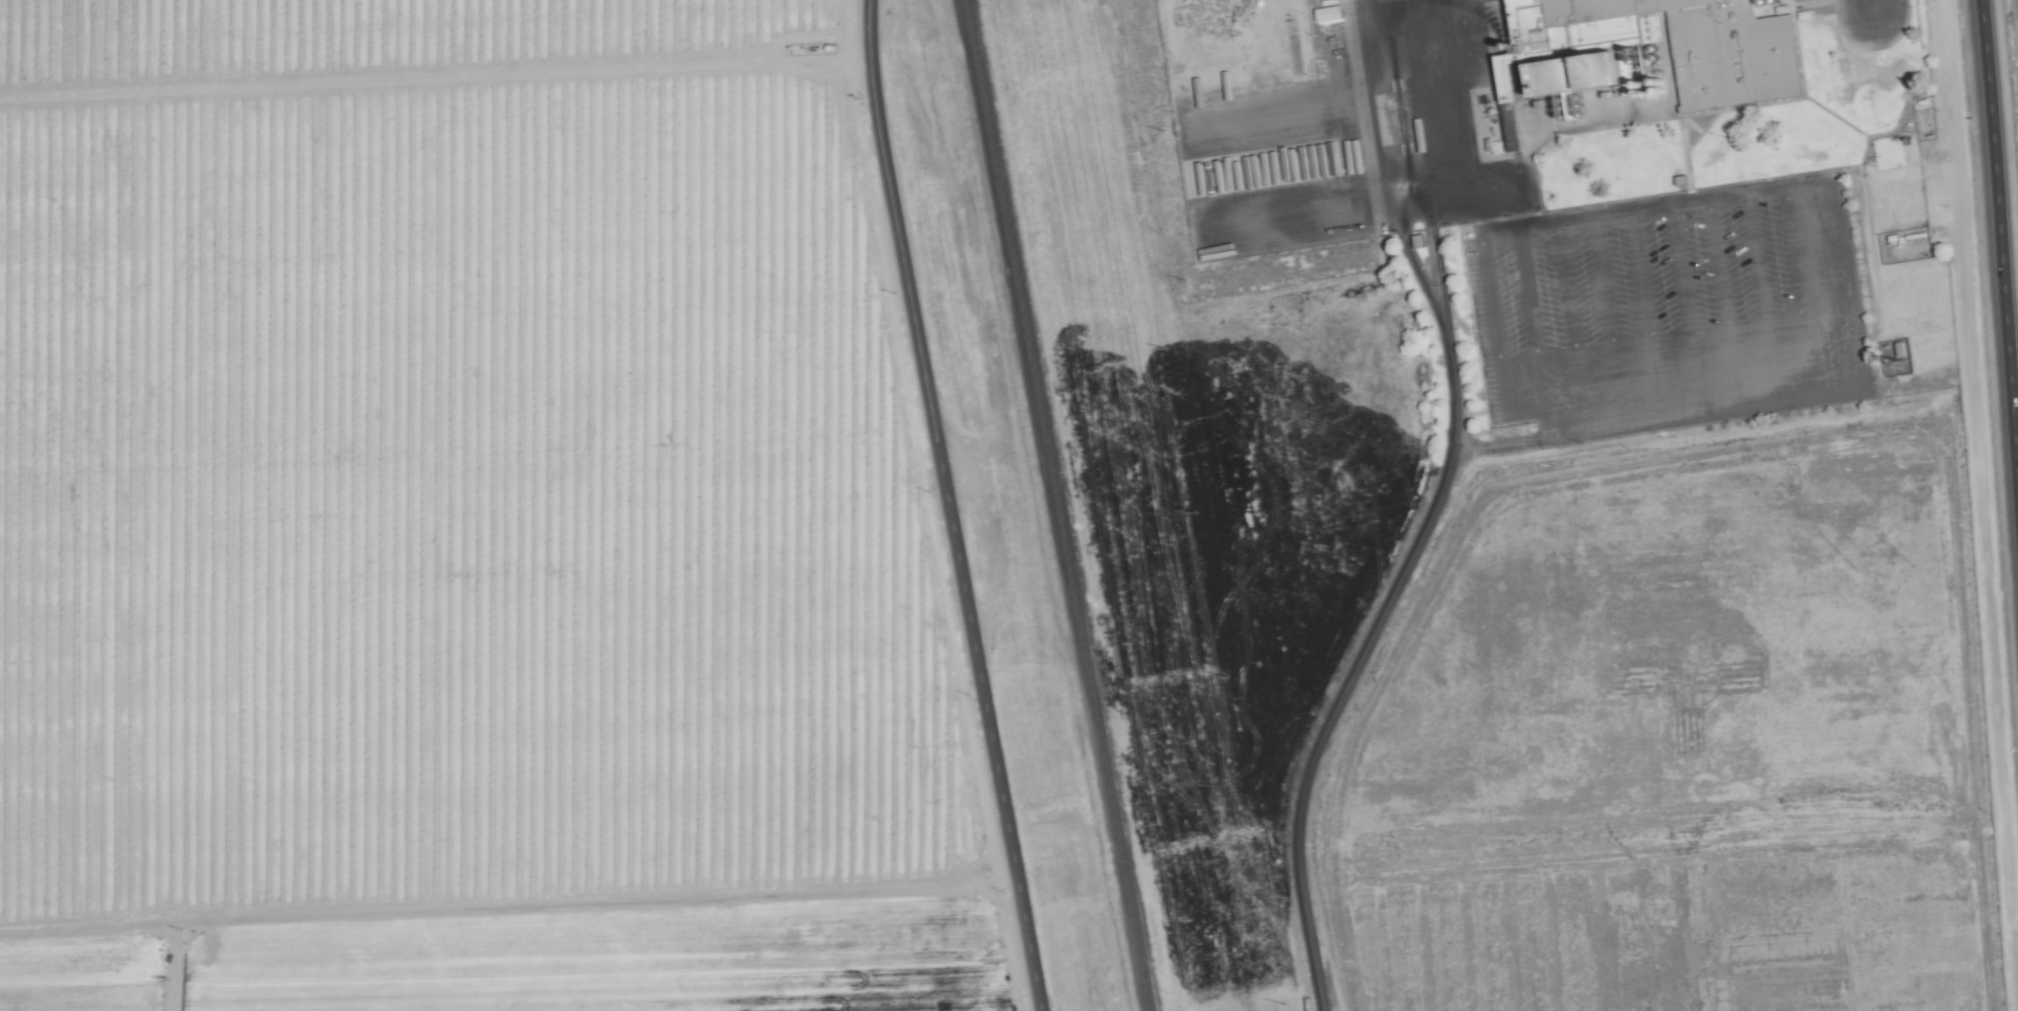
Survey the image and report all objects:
road: (1870, 7)
building: (1709, 46)
building: (1570, 75)
crop: (2006, 97)
road: (1432, 118)
road: (2000, 240)
road: (1760, 296)
road: (1490, 298)
road: (1723, 302)
road: (1686, 308)
road: (1526, 312)
road: (1646, 314)
road: (1611, 319)
road: (1819, 320)
road: (1570, 325)
road: (1539, 399)
railway: (1055, 505)
road: (946, 506)
road: (1378, 622)
road: (559, 912)

